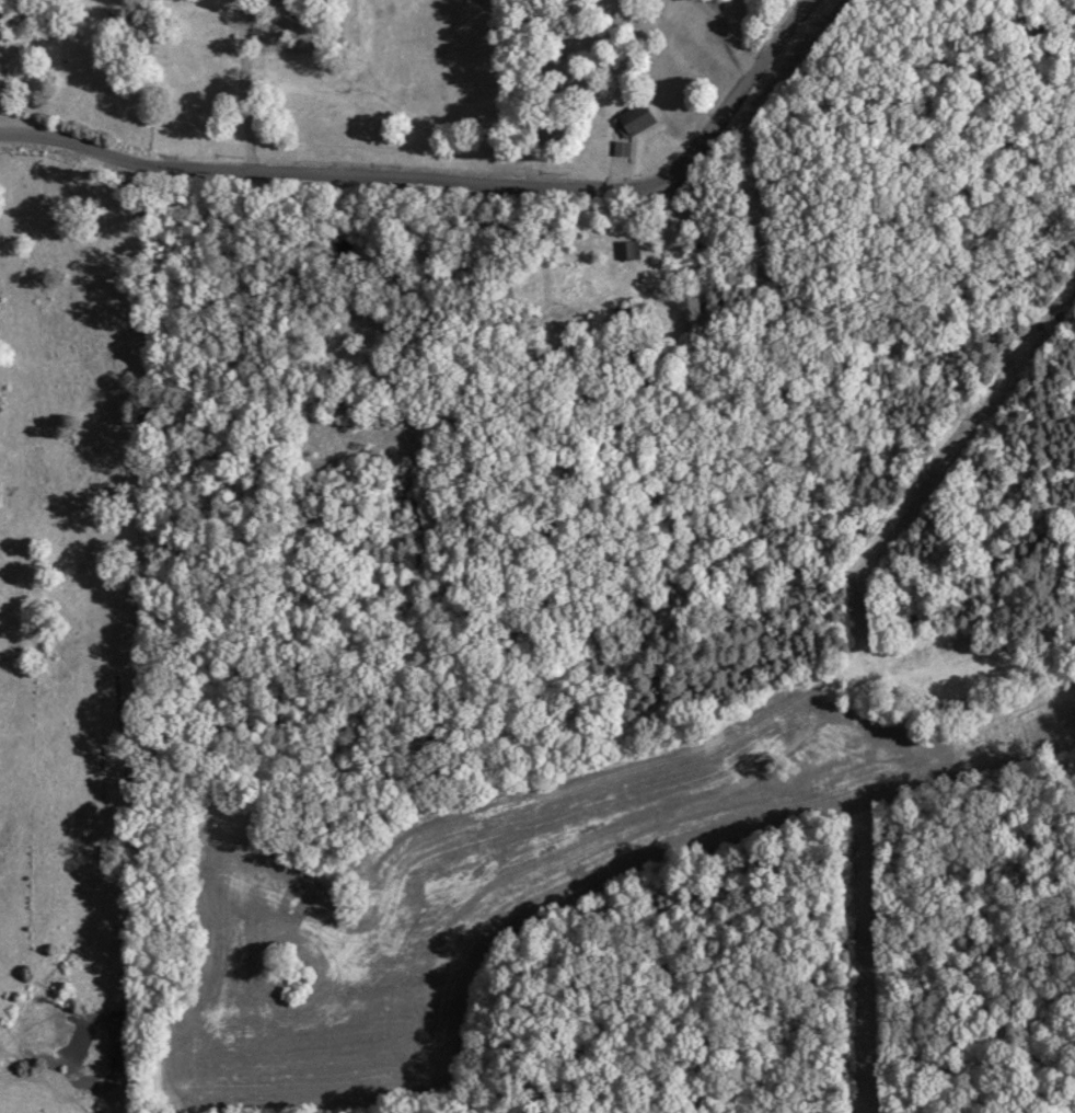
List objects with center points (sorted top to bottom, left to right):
road: (720, 43)
building: (631, 121)
building: (619, 149)
road: (612, 169)
road: (455, 183)
building: (624, 250)

